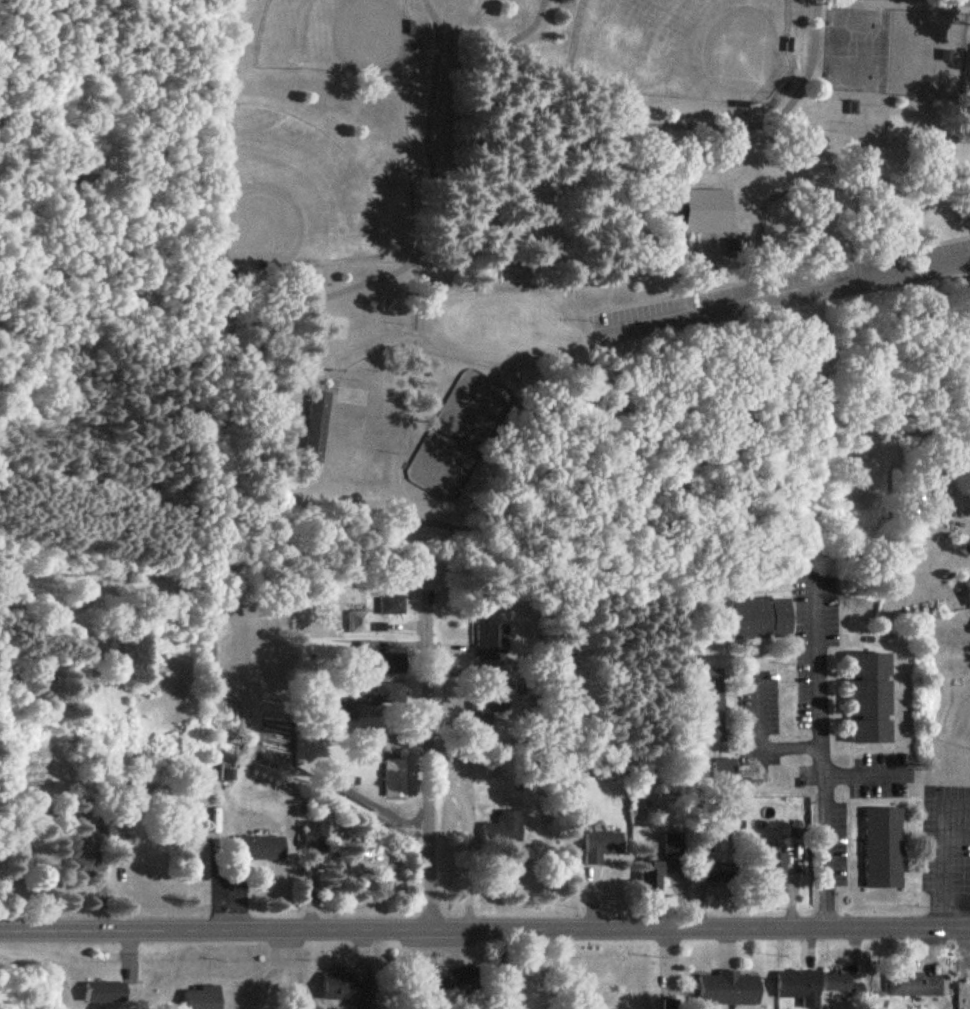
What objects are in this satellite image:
park: (334, 36)
park: (691, 45)
park: (288, 193)
building: (708, 211)
park: (533, 221)
road: (765, 298)
road: (435, 339)
building: (484, 396)
building: (317, 427)
building: (968, 588)
building: (392, 605)
building: (748, 619)
building: (358, 622)
building: (491, 641)
building: (367, 649)
building: (393, 664)
building: (871, 699)
building: (372, 702)
building: (704, 705)
building: (482, 716)
road: (761, 741)
road: (825, 755)
road: (428, 757)
building: (723, 769)
road: (864, 773)
building: (396, 778)
building: (504, 828)
building: (316, 836)
road: (469, 842)
building: (602, 846)
building: (675, 846)
building: (261, 848)
building: (884, 848)
building: (90, 859)
building: (776, 873)
building: (715, 874)
building: (651, 877)
road: (484, 927)
road: (556, 969)
building: (451, 979)
building: (841, 983)
building: (915, 985)
building: (350, 988)
building: (799, 988)
building: (729, 990)
building: (105, 993)
building: (203, 998)

